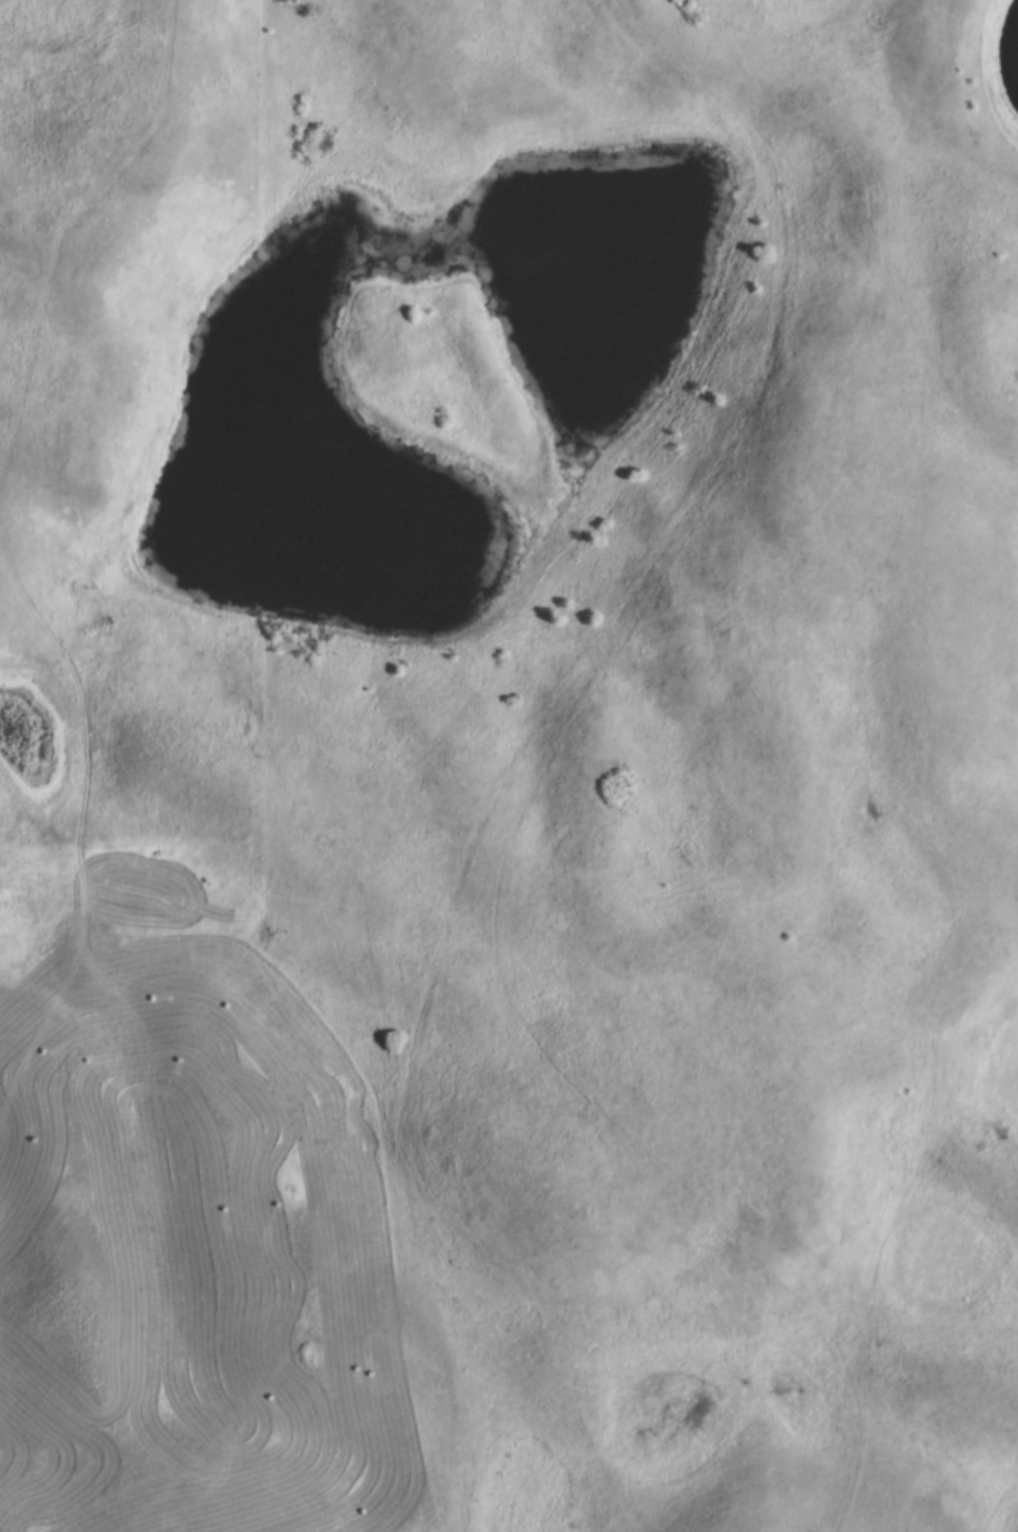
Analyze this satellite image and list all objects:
road: (432, 1278)

